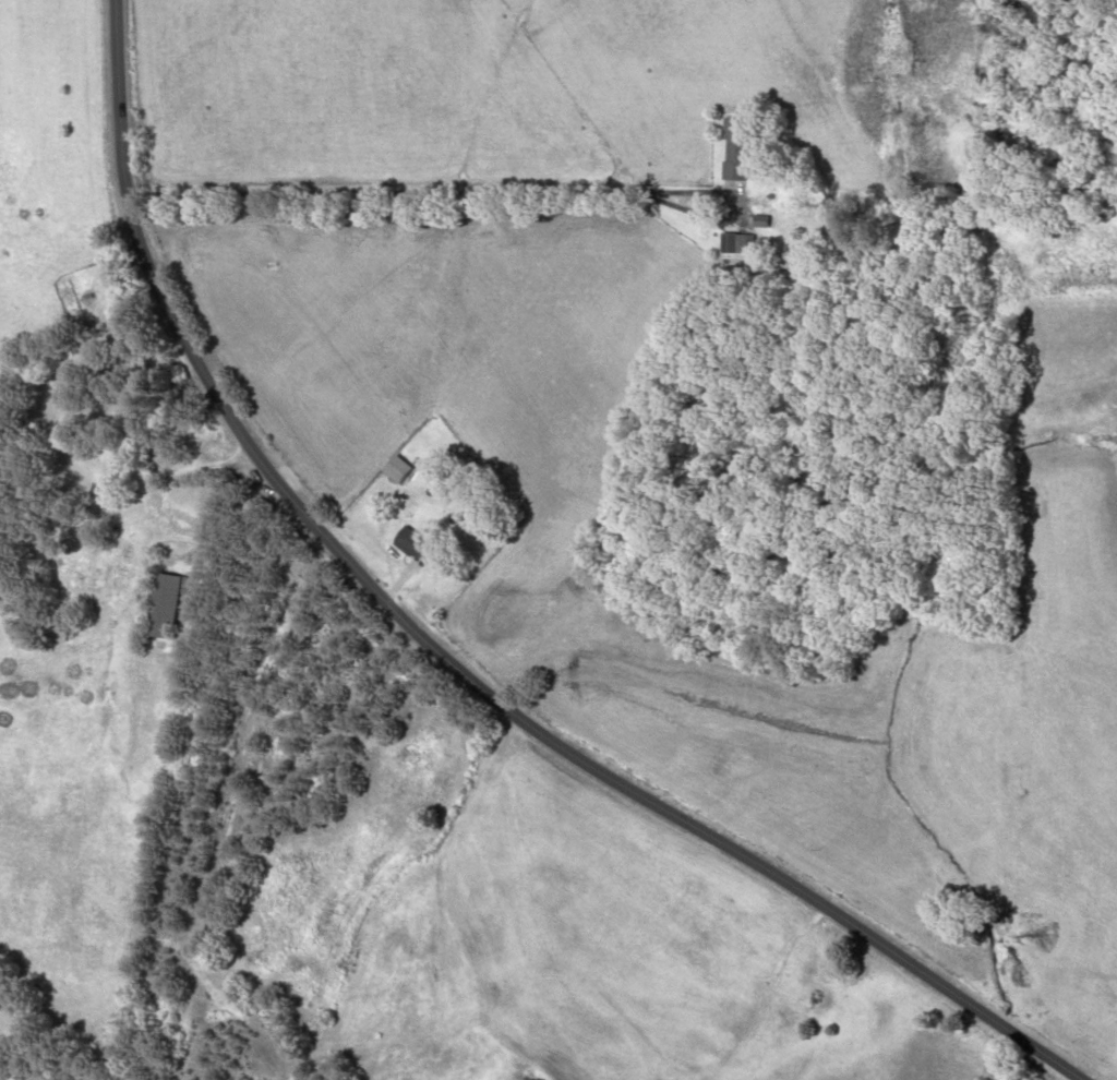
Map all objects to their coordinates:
building: (734, 149)
road: (419, 196)
building: (735, 243)
building: (396, 469)
building: (411, 544)
building: (164, 604)
road: (437, 656)

